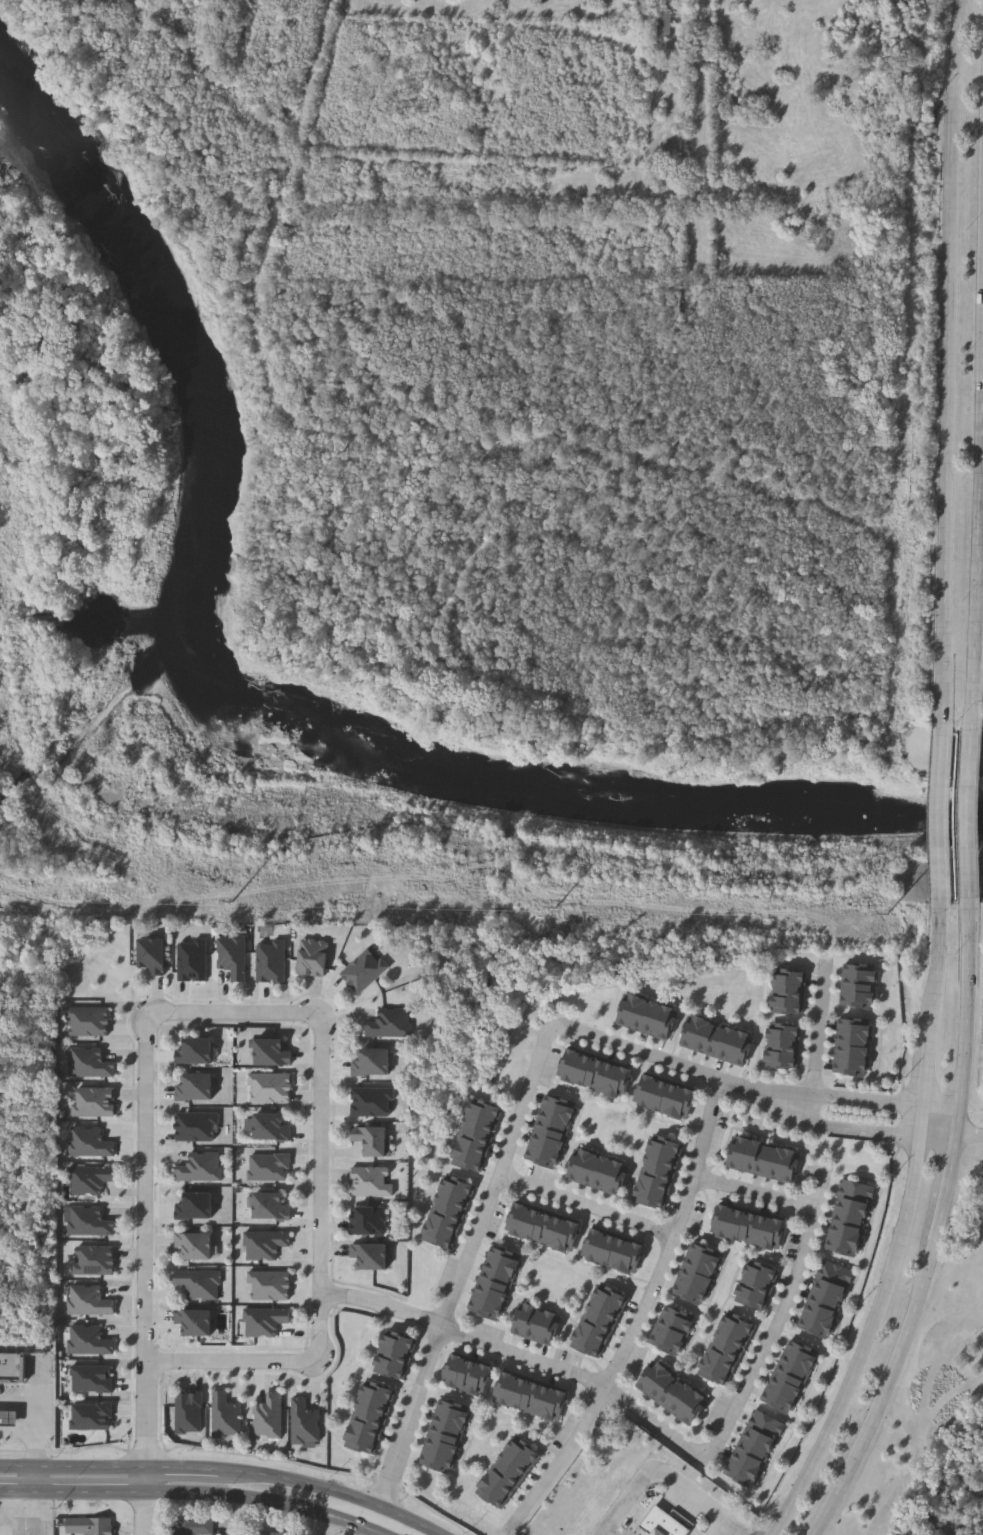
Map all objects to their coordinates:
building: (663, 27)
building: (664, 184)
road: (953, 362)
road: (982, 613)
river: (197, 732)
road: (982, 747)
road: (956, 815)
road: (982, 877)
power tower: (77, 905)
power tower: (410, 912)
power tower: (733, 918)
building: (156, 956)
building: (235, 957)
building: (317, 958)
building: (195, 961)
building: (274, 963)
road: (943, 970)
building: (860, 973)
building: (368, 974)
building: (789, 978)
building: (859, 987)
building: (788, 992)
building: (857, 1000)
building: (787, 1006)
building: (628, 1012)
building: (641, 1016)
building: (654, 1020)
building: (667, 1024)
building: (393, 1026)
building: (855, 1028)
building: (692, 1031)
building: (784, 1033)
building: (705, 1035)
road: (819, 1036)
building: (717, 1040)
building: (853, 1042)
building: (730, 1044)
building: (783, 1047)
building: (742, 1048)
building: (197, 1052)
building: (274, 1053)
building: (852, 1056)
building: (782, 1061)
building: (91, 1063)
building: (374, 1065)
building: (568, 1065)
road: (682, 1068)
building: (581, 1069)
building: (850, 1070)
road: (929, 1072)
building: (595, 1074)
building: (608, 1078)
building: (621, 1082)
building: (196, 1088)
building: (272, 1088)
building: (646, 1092)
building: (659, 1096)
building: (673, 1100)
road: (865, 1100)
building: (95, 1102)
building: (374, 1104)
building: (686, 1104)
building: (560, 1106)
road: (942, 1109)
building: (487, 1110)
building: (556, 1119)
road: (922, 1121)
building: (482, 1123)
building: (273, 1126)
building: (197, 1127)
road: (860, 1127)
road: (970, 1131)
building: (550, 1132)
building: (478, 1136)
road: (938, 1137)
building: (91, 1143)
building: (374, 1143)
building: (546, 1145)
building: (666, 1148)
building: (473, 1149)
building: (738, 1152)
road: (146, 1155)
building: (752, 1156)
building: (542, 1159)
building: (765, 1159)
building: (662, 1161)
building: (469, 1162)
building: (778, 1162)
building: (578, 1166)
building: (791, 1166)
building: (270, 1167)
building: (202, 1168)
building: (591, 1170)
building: (605, 1174)
building: (658, 1174)
building: (618, 1178)
building: (92, 1180)
building: (374, 1184)
building: (654, 1186)
road: (324, 1187)
building: (459, 1188)
building: (858, 1190)
road: (758, 1194)
building: (650, 1199)
building: (454, 1200)
building: (854, 1204)
building: (196, 1206)
building: (273, 1206)
road: (587, 1207)
building: (449, 1213)
building: (850, 1218)
building: (517, 1220)
building: (90, 1222)
building: (722, 1222)
building: (370, 1223)
building: (530, 1225)
building: (444, 1226)
building: (735, 1226)
road: (934, 1227)
building: (544, 1229)
building: (749, 1229)
building: (763, 1232)
building: (847, 1233)
building: (557, 1234)
building: (776, 1235)
building: (439, 1238)
building: (571, 1238)
building: (266, 1245)
building: (196, 1246)
building: (593, 1246)
building: (843, 1247)
building: (606, 1250)
building: (704, 1254)
building: (620, 1255)
building: (372, 1259)
building: (505, 1259)
building: (633, 1259)
building: (95, 1260)
building: (700, 1267)
building: (501, 1271)
building: (761, 1272)
building: (837, 1272)
road: (461, 1279)
building: (695, 1281)
building: (832, 1283)
building: (201, 1284)
building: (496, 1284)
building: (271, 1286)
building: (756, 1286)
building: (691, 1294)
building: (828, 1295)
building: (491, 1297)
building: (610, 1297)
road: (336, 1298)
building: (751, 1299)
building: (90, 1301)
building: (824, 1306)
building: (605, 1309)
building: (486, 1310)
road: (643, 1317)
building: (679, 1318)
road: (785, 1318)
building: (820, 1318)
building: (523, 1320)
building: (265, 1322)
building: (599, 1322)
building: (195, 1323)
building: (536, 1324)
building: (737, 1325)
building: (550, 1329)
building: (816, 1329)
building: (673, 1331)
building: (593, 1334)
building: (732, 1337)
building: (90, 1340)
building: (400, 1342)
road: (864, 1342)
building: (667, 1344)
building: (588, 1346)
building: (726, 1350)
building: (803, 1352)
building: (395, 1356)
road: (231, 1362)
building: (720, 1362)
building: (798, 1362)
road: (535, 1363)
building: (12, 1369)
building: (391, 1369)
building: (454, 1372)
building: (793, 1372)
building: (714, 1373)
building: (468, 1376)
building: (652, 1378)
building: (92, 1379)
building: (482, 1381)
building: (788, 1382)
building: (662, 1385)
park: (935, 1385)
building: (506, 1390)
building: (379, 1393)
building: (783, 1393)
building: (519, 1394)
building: (673, 1394)
road: (949, 1397)
building: (532, 1398)
building: (544, 1401)
building: (684, 1402)
building: (778, 1403)
building: (558, 1405)
building: (375, 1406)
building: (695, 1410)
building: (454, 1411)
building: (190, 1413)
building: (93, 1416)
building: (226, 1416)
building: (270, 1417)
building: (8, 1419)
gas station: (8, 1419)
building: (370, 1419)
road: (923, 1421)
building: (306, 1423)
building: (450, 1423)
building: (768, 1423)
road: (37, 1428)
building: (366, 1432)
building: (763, 1434)
building: (445, 1437)
building: (361, 1444)
building: (757, 1444)
building: (441, 1449)
building: (523, 1452)
building: (751, 1455)
building: (437, 1463)
building: (515, 1463)
building: (745, 1466)
road: (72, 1469)
road: (182, 1470)
building: (508, 1474)
road: (279, 1477)
building: (740, 1477)
road: (661, 1482)
building: (500, 1485)
road: (72, 1494)
building: (492, 1495)
road: (243, 1498)
road: (145, 1502)
road: (386, 1510)
road: (5, 1514)
building: (665, 1523)
road: (325, 1525)
building: (91, 1526)
building: (197, 1527)
road: (356, 1528)
road: (717, 1530)
road: (427, 1533)
road: (610, 1533)
building: (277, 1534)

